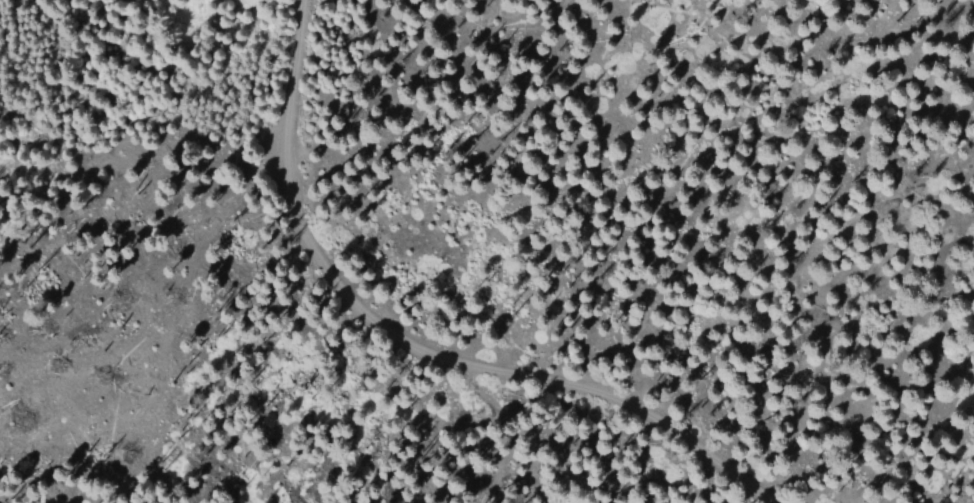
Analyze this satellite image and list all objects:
road: (412, 342)

